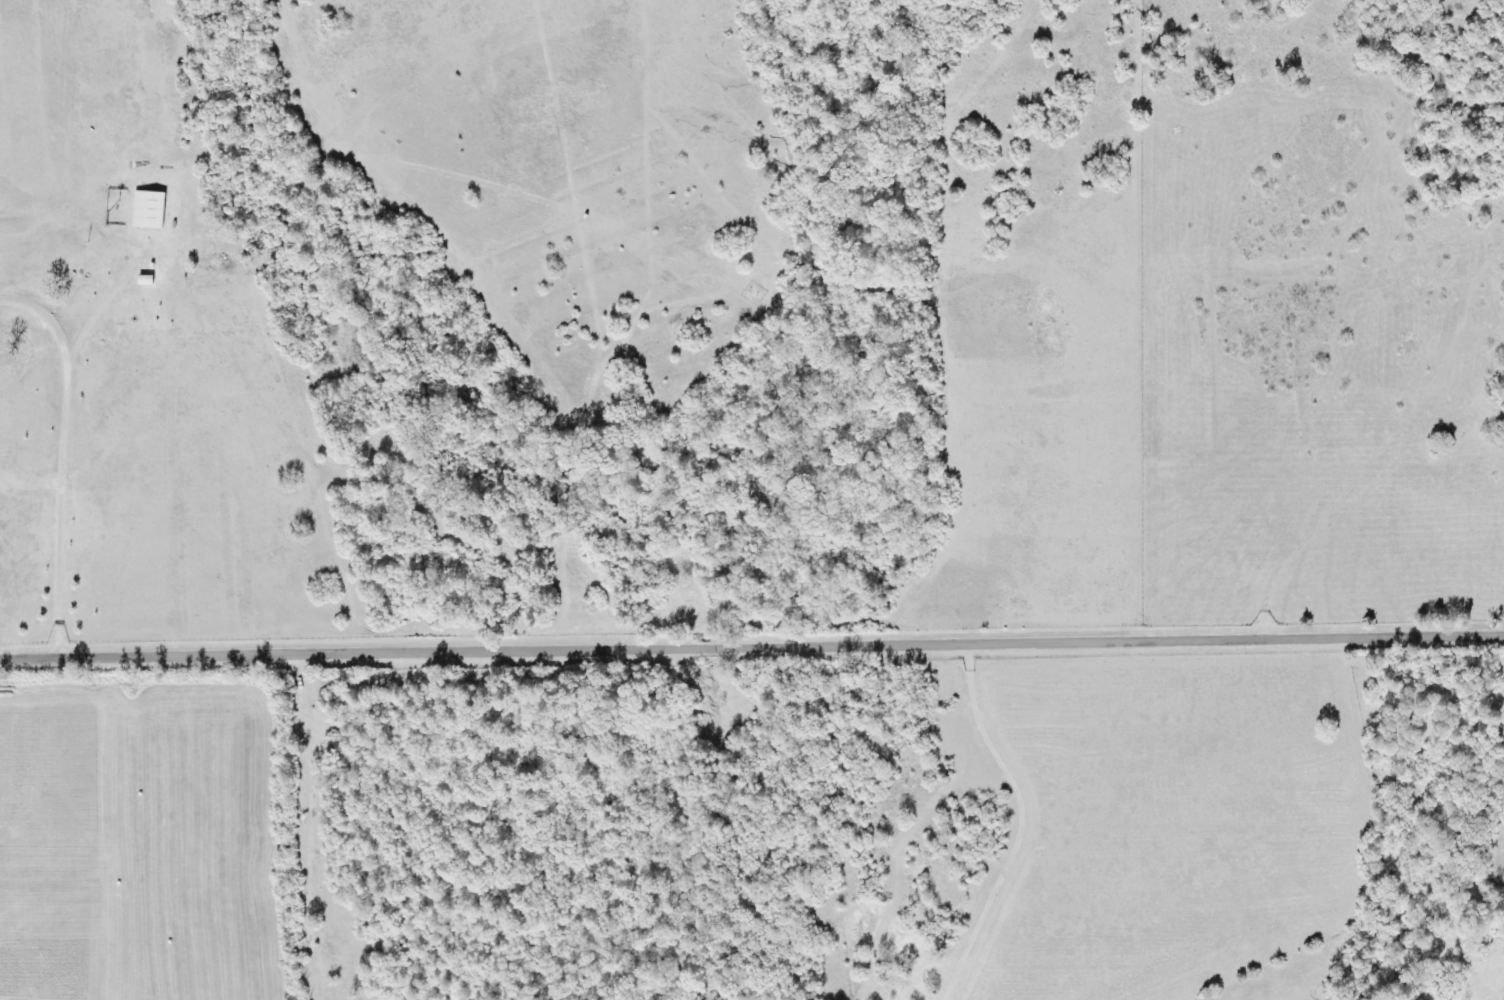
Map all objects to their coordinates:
building: (154, 209)
road: (1479, 318)
road: (752, 647)
road: (310, 829)

